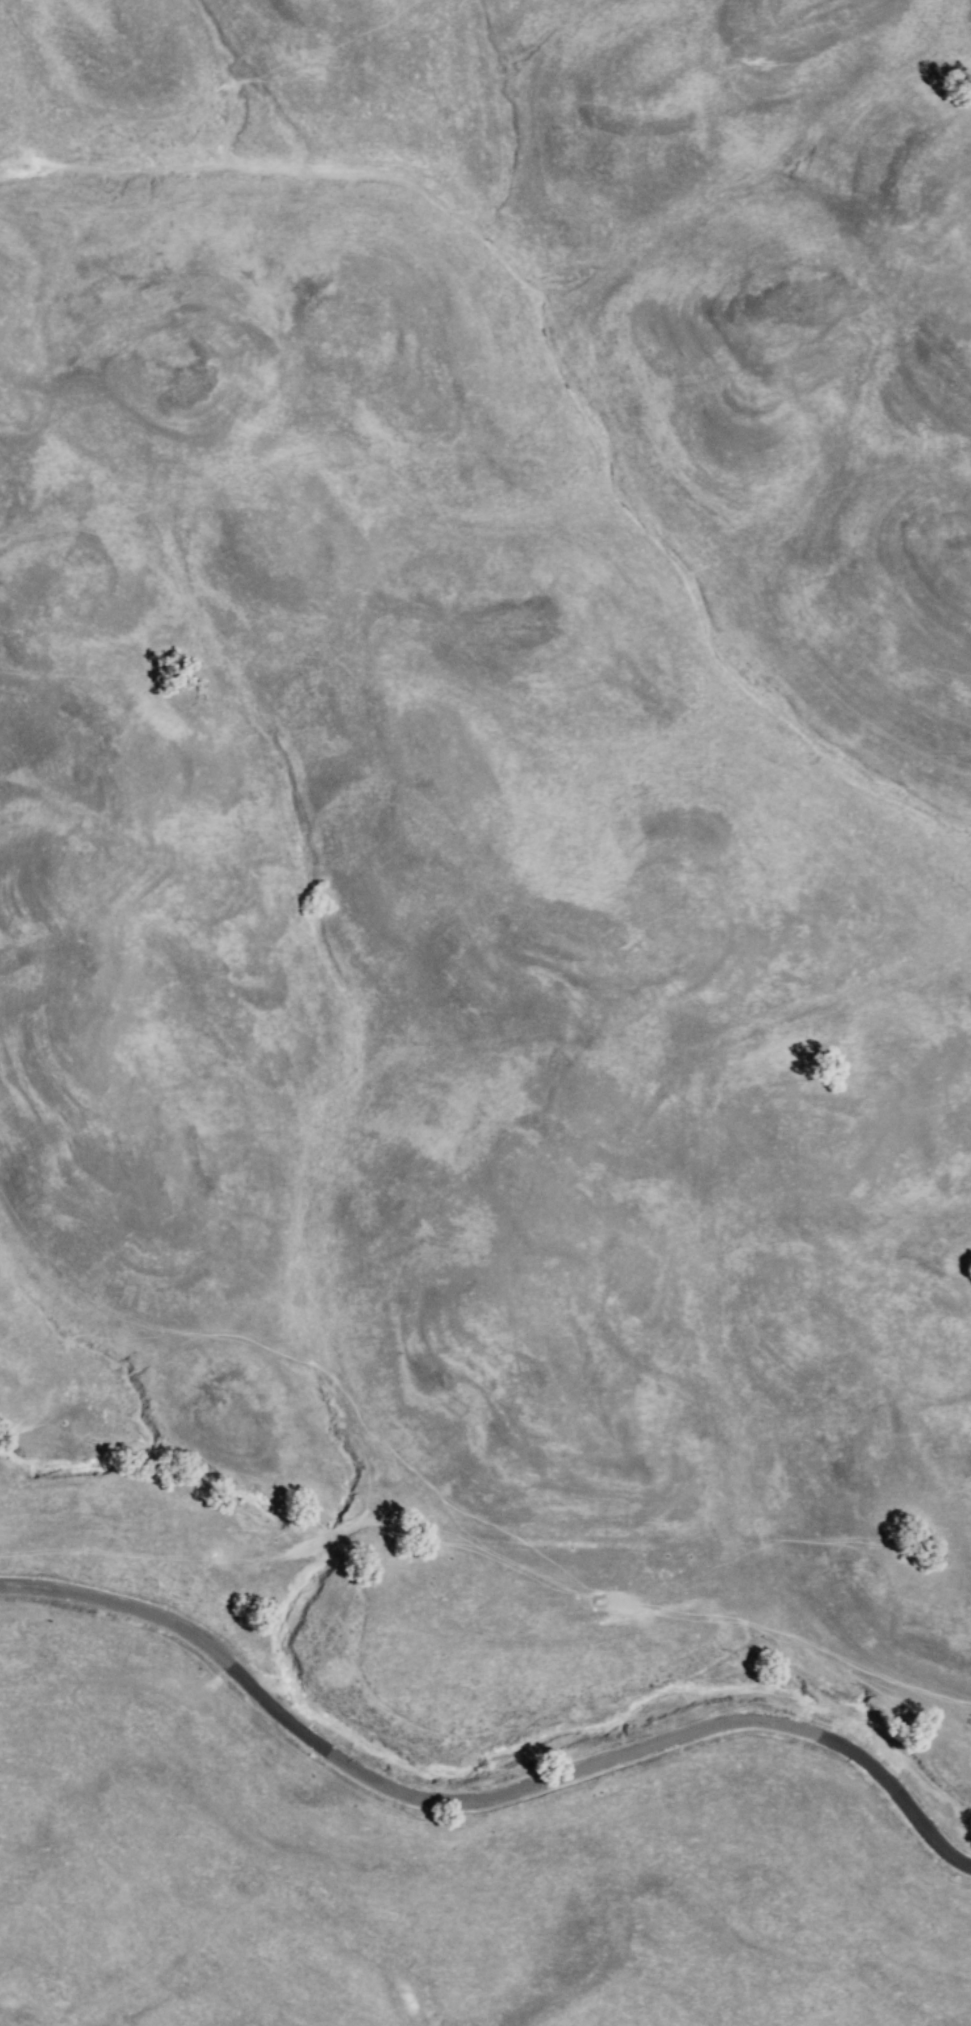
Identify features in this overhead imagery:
road: (486, 1799)

